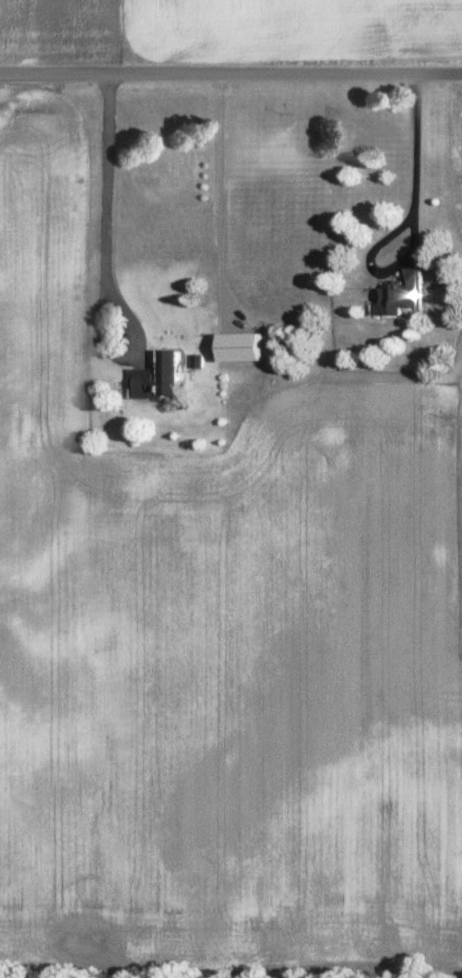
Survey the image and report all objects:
road: (231, 75)
building: (405, 293)
building: (246, 346)
building: (164, 376)

